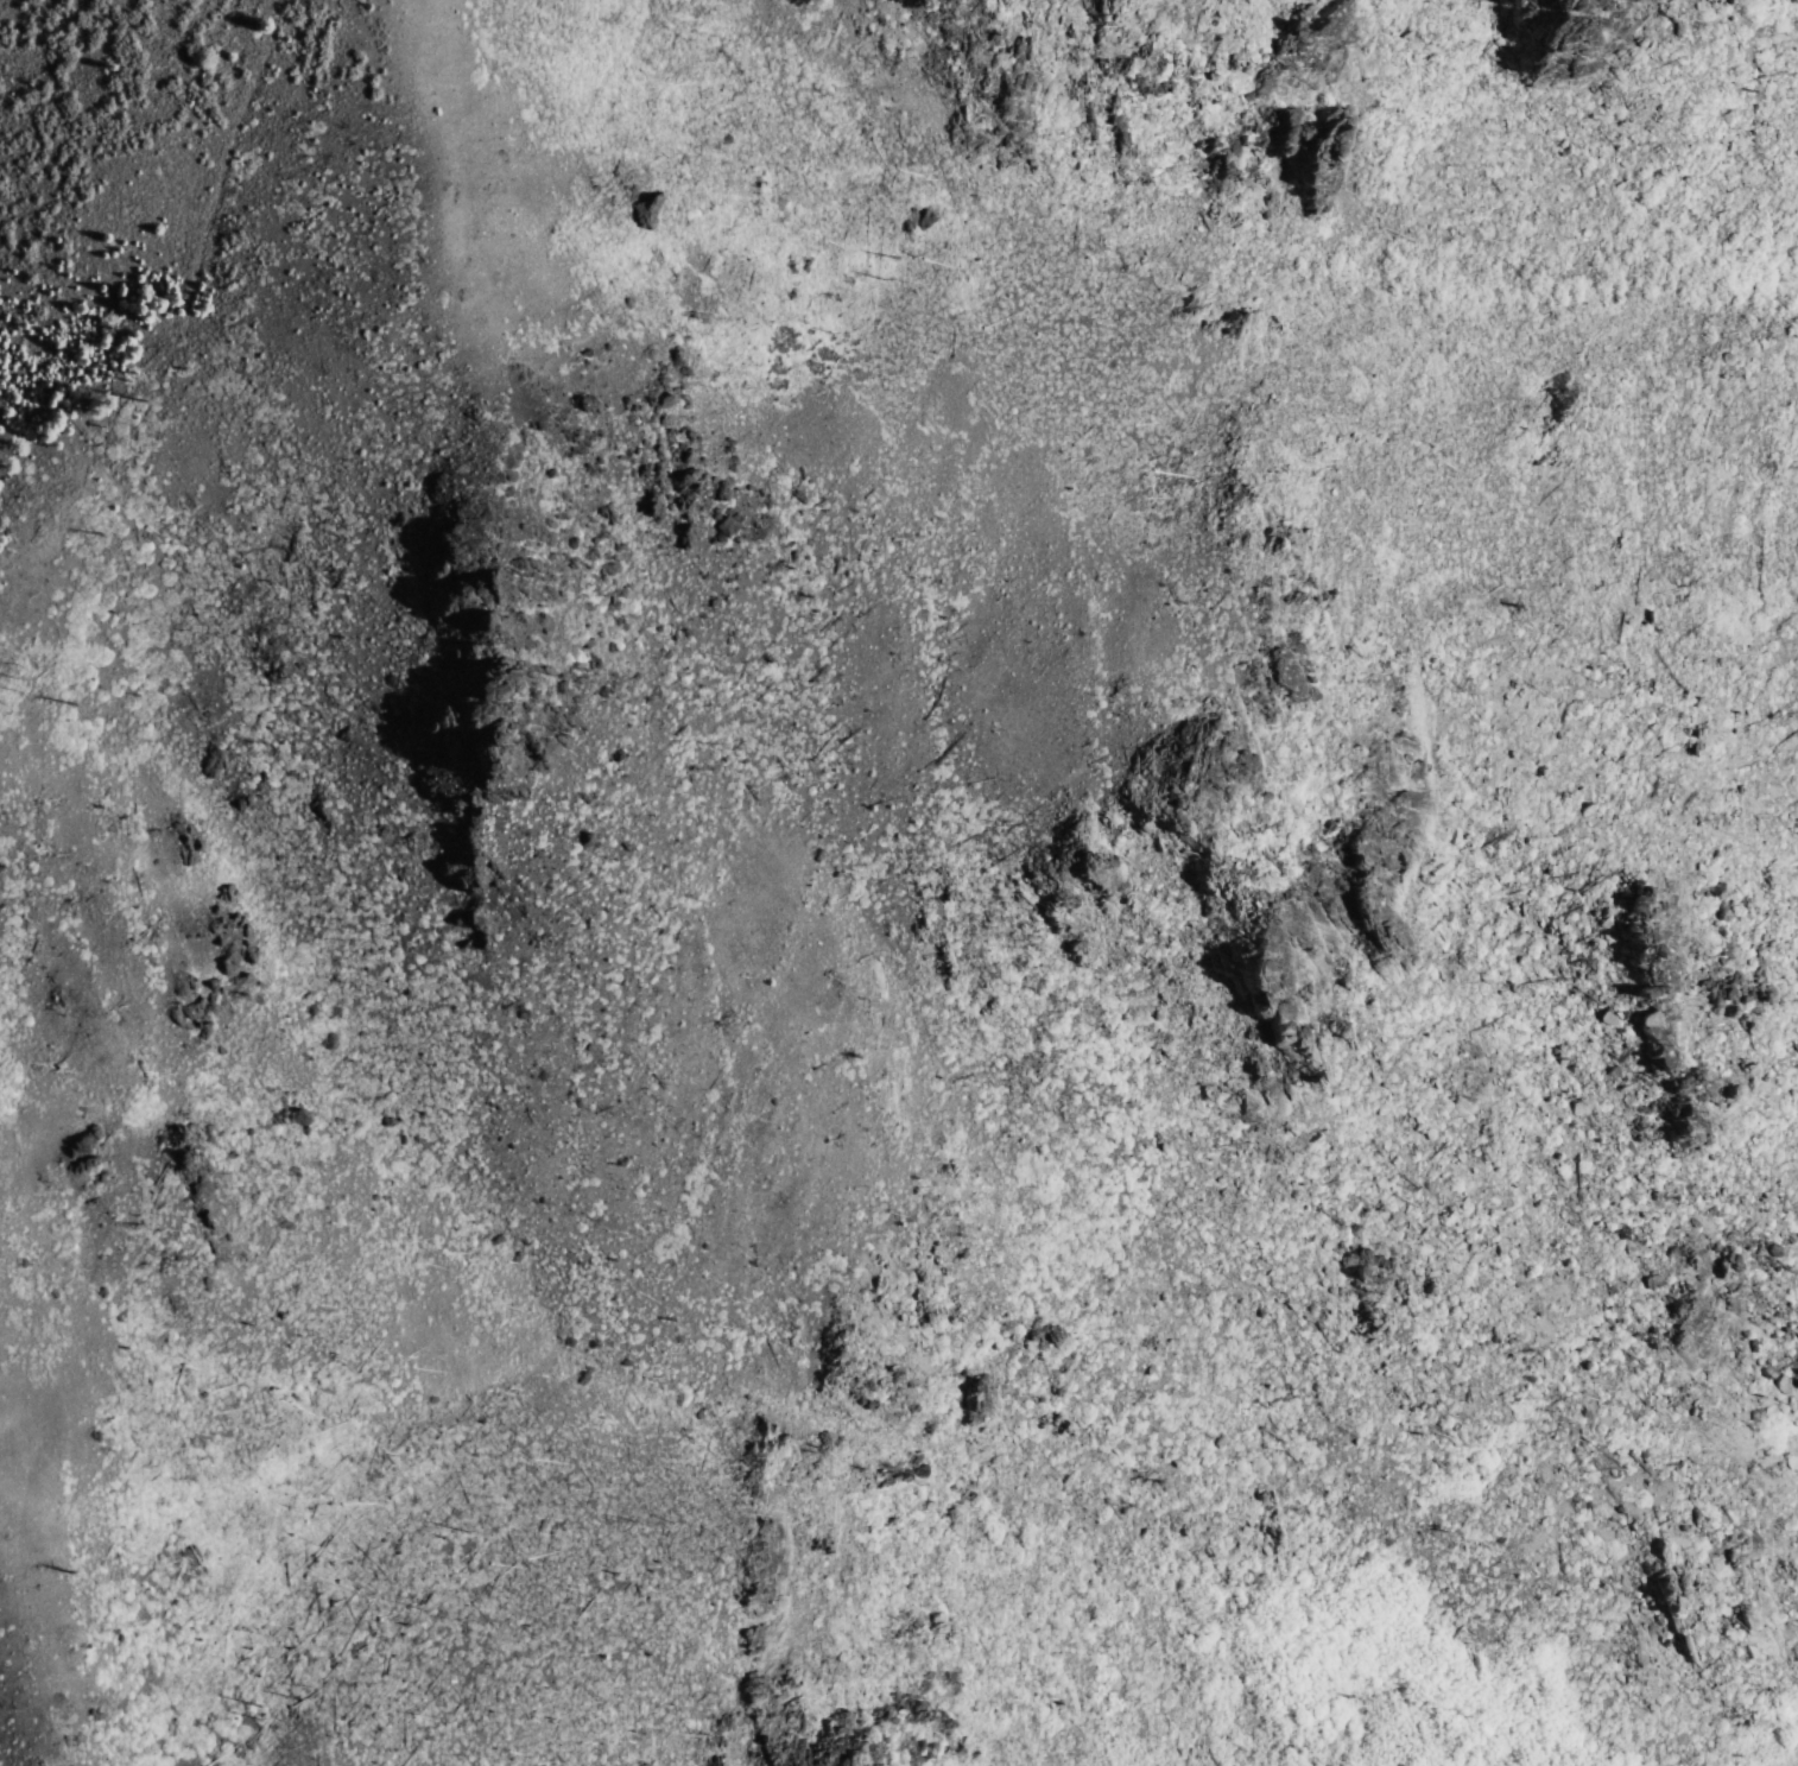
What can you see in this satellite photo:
road: (190, 273)

